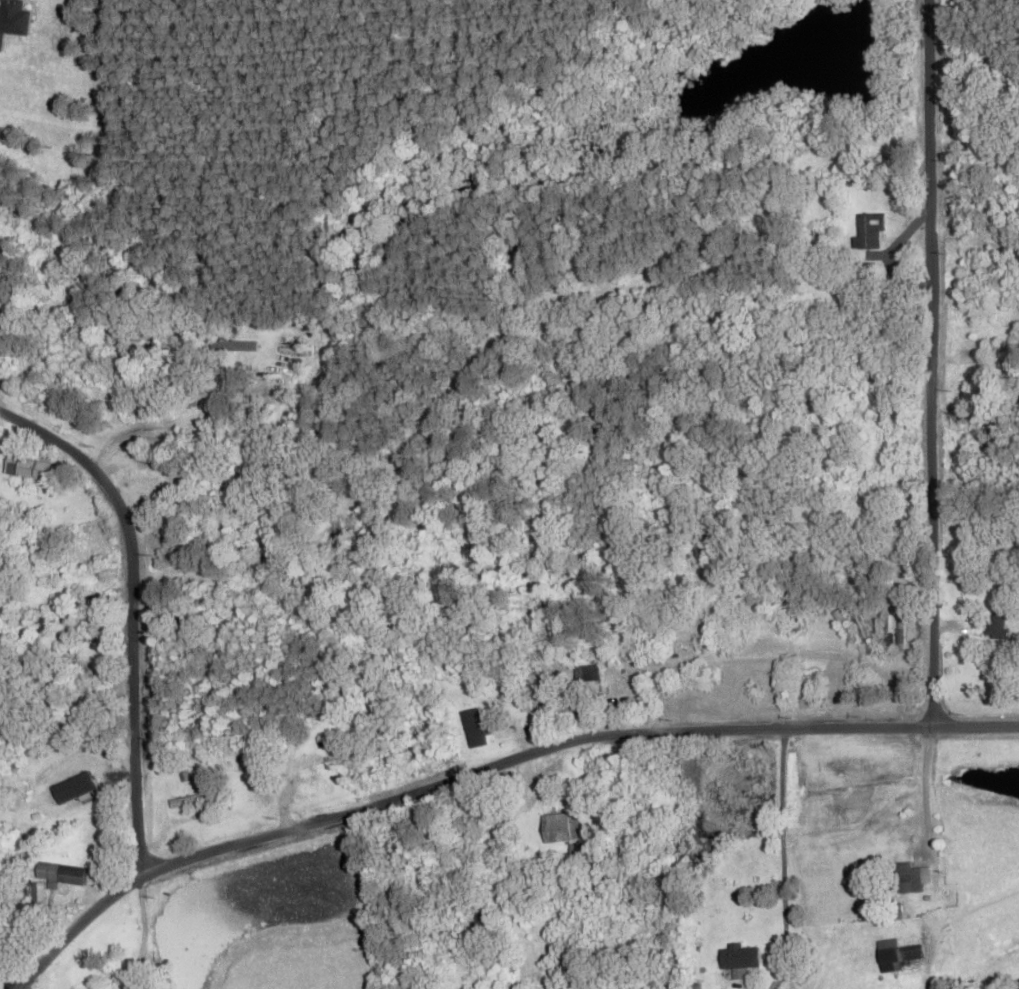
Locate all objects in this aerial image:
building: (868, 232)
building: (818, 237)
building: (996, 337)
building: (241, 347)
road: (931, 363)
building: (26, 469)
building: (160, 475)
building: (693, 551)
building: (1009, 582)
road: (133, 617)
building: (843, 626)
building: (995, 626)
building: (827, 633)
building: (863, 634)
building: (889, 636)
building: (586, 681)
building: (474, 729)
road: (568, 740)
building: (186, 803)
building: (560, 829)
road: (785, 845)
building: (60, 875)
building: (908, 879)
building: (35, 894)
building: (895, 912)
building: (479, 917)
road: (75, 929)
road: (142, 930)
building: (895, 956)
building: (738, 961)

